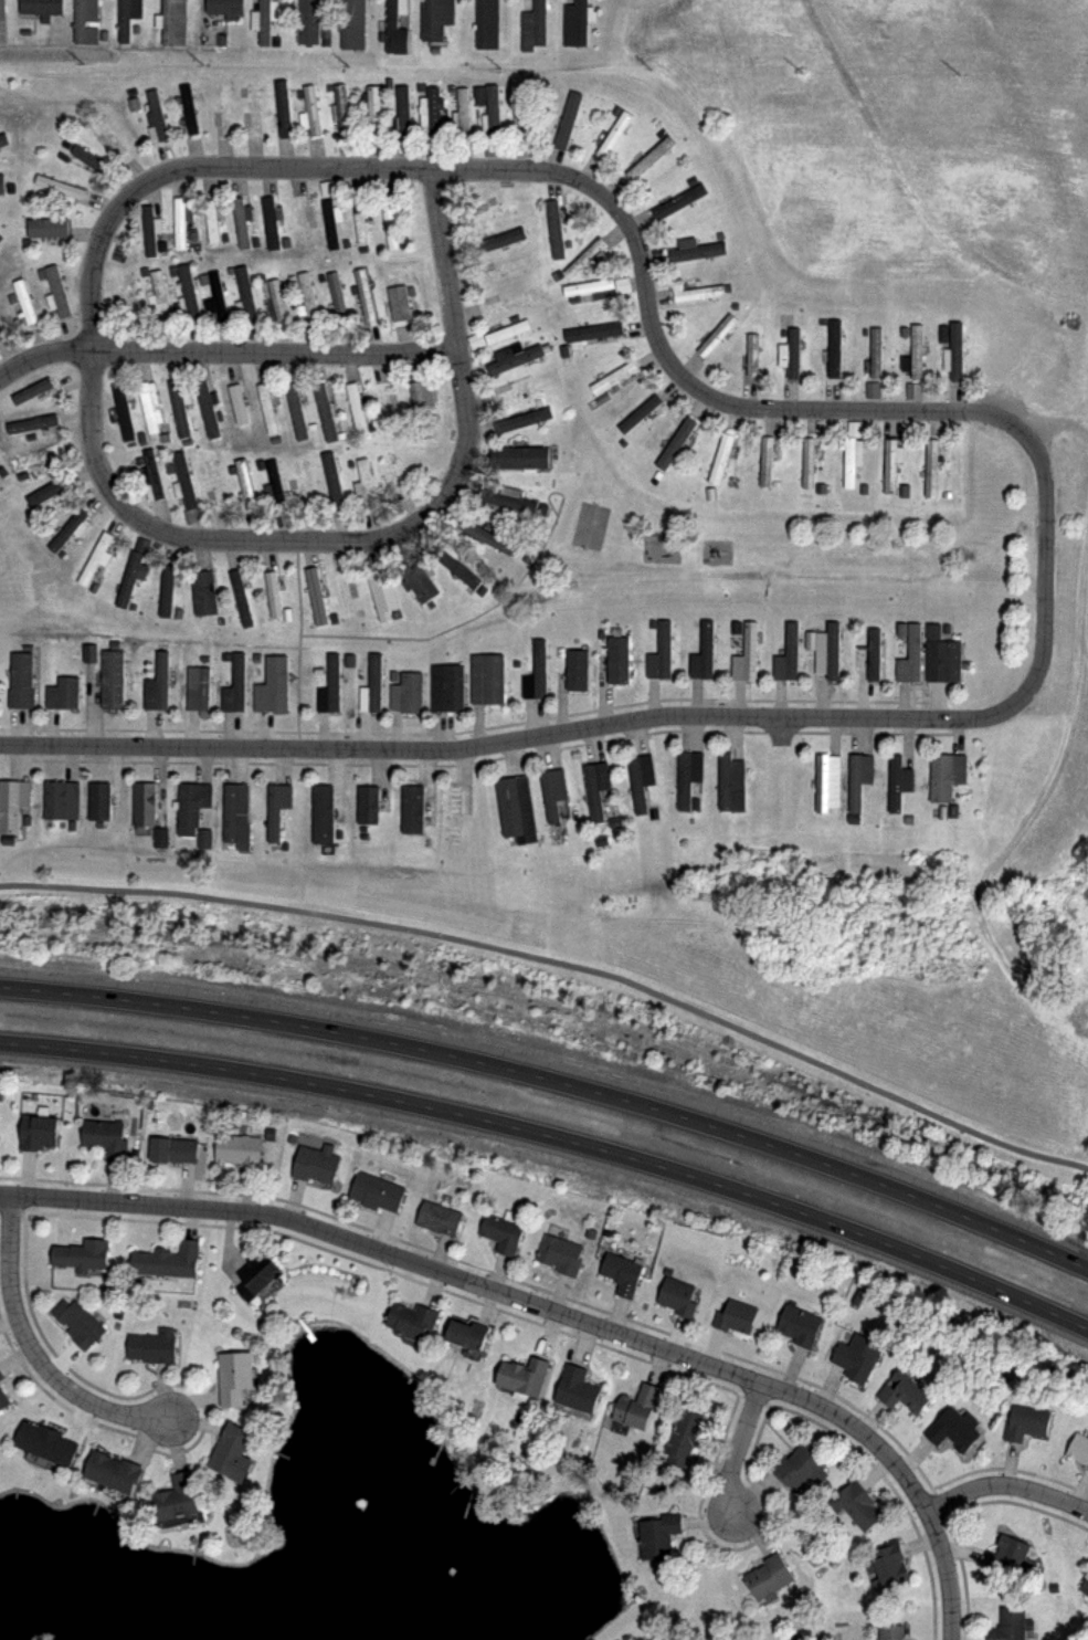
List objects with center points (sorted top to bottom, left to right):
building: (42, 8)
building: (225, 8)
building: (126, 17)
building: (435, 19)
building: (266, 20)
building: (1, 21)
building: (84, 21)
building: (308, 21)
building: (172, 22)
building: (487, 23)
building: (575, 23)
building: (352, 24)
building: (397, 27)
building: (535, 27)
building: (222, 107)
building: (189, 109)
building: (283, 109)
building: (251, 111)
building: (342, 111)
building: (373, 111)
building: (310, 113)
building: (431, 113)
building: (493, 113)
building: (402, 114)
building: (462, 115)
building: (154, 117)
building: (614, 134)
building: (106, 135)
building: (3, 139)
building: (492, 149)
building: (651, 157)
building: (87, 158)
building: (1, 183)
building: (59, 186)
building: (326, 188)
building: (678, 202)
road: (621, 213)
building: (179, 221)
building: (211, 221)
building: (242, 221)
building: (272, 221)
building: (391, 221)
building: (332, 222)
building: (360, 222)
building: (46, 228)
building: (150, 229)
building: (556, 229)
building: (497, 241)
building: (695, 249)
road: (445, 257)
building: (585, 260)
building: (601, 287)
building: (55, 292)
building: (699, 293)
building: (188, 294)
building: (159, 295)
building: (245, 295)
building: (337, 296)
building: (366, 296)
building: (218, 299)
building: (308, 299)
building: (23, 302)
building: (275, 302)
building: (400, 303)
building: (507, 332)
building: (594, 332)
building: (2, 333)
building: (715, 336)
building: (834, 349)
road: (224, 350)
building: (790, 354)
building: (876, 354)
building: (752, 355)
building: (915, 355)
building: (954, 355)
building: (516, 359)
building: (614, 377)
building: (870, 390)
building: (911, 390)
building: (30, 391)
building: (422, 403)
building: (237, 404)
building: (149, 406)
building: (178, 407)
building: (356, 408)
building: (207, 409)
building: (267, 409)
building: (123, 412)
building: (296, 412)
building: (325, 412)
building: (638, 413)
building: (524, 420)
building: (30, 424)
building: (676, 442)
building: (35, 458)
building: (519, 458)
building: (721, 459)
building: (851, 460)
building: (765, 461)
building: (809, 464)
building: (892, 466)
building: (932, 469)
building: (391, 473)
building: (152, 474)
building: (184, 481)
building: (302, 482)
building: (332, 482)
building: (213, 484)
building: (245, 485)
building: (275, 485)
building: (366, 486)
building: (49, 492)
building: (508, 501)
building: (70, 529)
building: (486, 536)
road: (283, 540)
building: (94, 559)
building: (455, 567)
building: (134, 571)
building: (419, 580)
building: (167, 592)
building: (203, 593)
building: (273, 596)
building: (316, 596)
building: (382, 596)
building: (240, 598)
building: (827, 648)
building: (910, 653)
building: (661, 655)
building: (704, 655)
building: (747, 655)
building: (789, 656)
building: (872, 656)
building: (943, 656)
building: (619, 660)
building: (578, 671)
building: (537, 674)
building: (488, 679)
building: (20, 681)
building: (112, 681)
building: (198, 683)
building: (276, 683)
building: (376, 683)
building: (158, 684)
building: (234, 687)
building: (330, 687)
building: (448, 688)
building: (408, 693)
building: (62, 694)
road: (579, 729)
building: (948, 776)
building: (688, 777)
building: (642, 779)
building: (860, 779)
building: (828, 782)
building: (900, 782)
building: (732, 785)
building: (598, 788)
building: (554, 791)
building: (61, 801)
building: (98, 802)
building: (144, 803)
building: (12, 805)
building: (368, 805)
building: (192, 806)
building: (516, 809)
building: (276, 810)
building: (412, 810)
building: (457, 811)
building: (324, 814)
building: (236, 817)
road: (560, 960)
road: (556, 1082)
building: (39, 1129)
building: (105, 1136)
road: (556, 1138)
building: (173, 1147)
building: (239, 1147)
building: (316, 1163)
building: (377, 1190)
building: (439, 1217)
building: (503, 1230)
building: (560, 1253)
building: (82, 1254)
building: (167, 1260)
building: (622, 1273)
building: (255, 1274)
road: (489, 1289)
building: (678, 1296)
building: (736, 1316)
building: (411, 1318)
building: (78, 1322)
building: (799, 1324)
building: (465, 1334)
building: (151, 1345)
road: (34, 1352)
building: (857, 1356)
building: (1, 1375)
building: (234, 1375)
building: (522, 1375)
building: (575, 1389)
building: (905, 1389)
building: (2, 1399)
building: (635, 1406)
building: (1027, 1421)
building: (955, 1429)
building: (683, 1433)
building: (45, 1442)
road: (739, 1449)
building: (1079, 1449)
building: (231, 1451)
building: (799, 1465)
building: (113, 1471)
road: (1008, 1485)
building: (176, 1501)
building: (857, 1503)
building: (655, 1534)
building: (1006, 1554)
building: (886, 1566)
road: (948, 1573)
building: (769, 1575)
building: (1085, 1590)
building: (1011, 1623)
building: (891, 1632)

